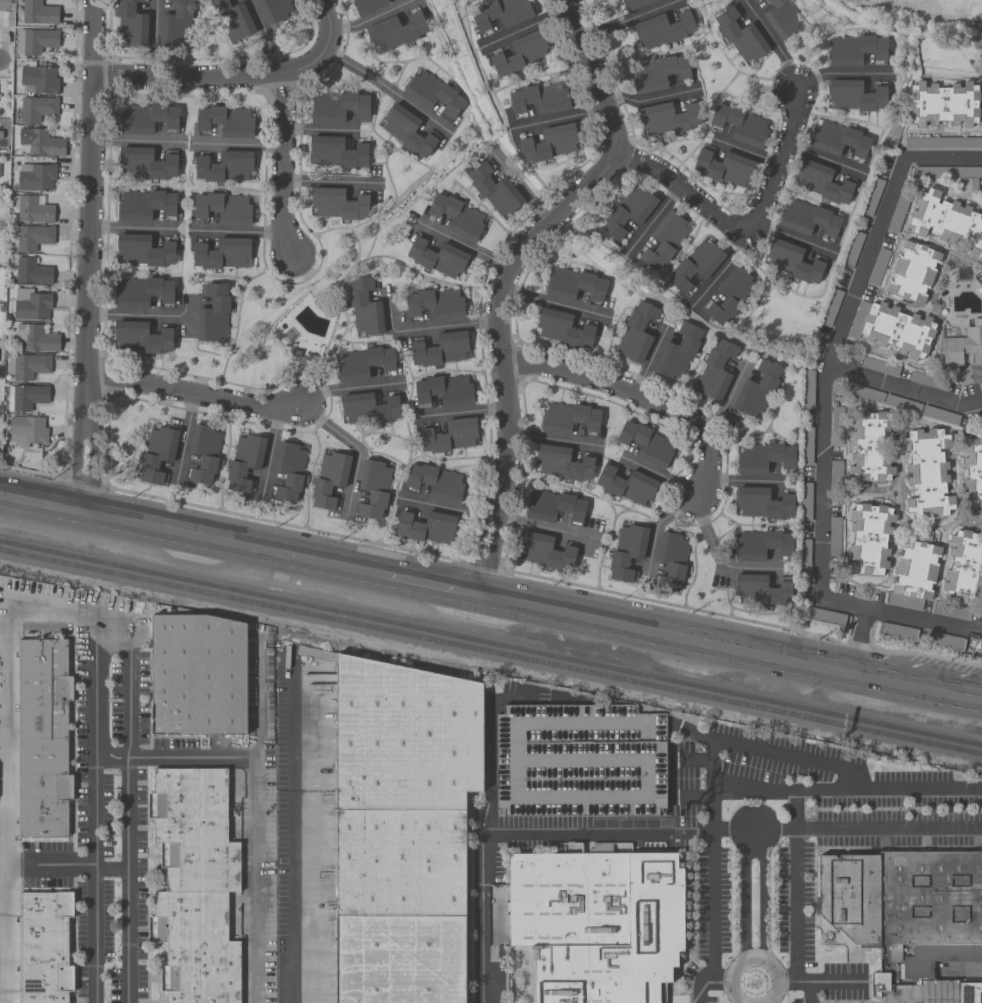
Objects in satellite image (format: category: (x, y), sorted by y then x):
building: (759, 0)
building: (4, 4)
building: (635, 4)
building: (367, 5)
building: (275, 10)
building: (38, 12)
building: (500, 13)
road: (371, 17)
road: (626, 18)
building: (781, 18)
building: (233, 19)
park: (928, 20)
road: (326, 21)
building: (130, 24)
building: (176, 25)
road: (522, 26)
building: (663, 29)
building: (395, 31)
building: (740, 35)
road: (266, 37)
road: (154, 38)
building: (35, 40)
road: (771, 40)
building: (855, 50)
building: (520, 53)
road: (594, 72)
building: (659, 72)
road: (840, 73)
road: (214, 75)
building: (38, 79)
road: (386, 90)
building: (433, 93)
building: (855, 95)
road: (651, 96)
building: (540, 98)
building: (943, 103)
building: (337, 106)
building: (35, 108)
road: (558, 115)
building: (147, 118)
building: (667, 118)
building: (225, 121)
building: (740, 124)
road: (320, 129)
building: (407, 130)
building: (838, 139)
building: (2, 140)
building: (40, 141)
road: (136, 141)
building: (549, 143)
road: (238, 144)
road: (741, 148)
building: (337, 152)
road: (822, 158)
building: (147, 162)
road: (283, 164)
building: (224, 166)
building: (724, 167)
building: (35, 176)
road: (332, 181)
road: (522, 182)
building: (822, 182)
building: (969, 185)
building: (494, 189)
road: (88, 203)
building: (337, 203)
building: (145, 205)
building: (223, 208)
building: (33, 209)
building: (628, 211)
building: (457, 216)
building: (808, 218)
road: (651, 221)
building: (947, 221)
road: (134, 226)
road: (746, 227)
road: (236, 230)
building: (31, 237)
road: (789, 237)
building: (664, 240)
road: (467, 244)
building: (143, 251)
building: (223, 252)
building: (437, 257)
building: (792, 261)
building: (695, 265)
building: (31, 271)
road: (718, 271)
building: (913, 271)
building: (574, 285)
building: (142, 291)
building: (731, 294)
building: (436, 303)
building: (31, 304)
road: (560, 305)
building: (364, 307)
building: (213, 314)
road: (149, 315)
road: (427, 329)
building: (562, 329)
building: (897, 329)
building: (636, 332)
road: (836, 334)
building: (35, 338)
building: (141, 338)
building: (963, 345)
building: (440, 349)
road: (501, 351)
building: (677, 353)
road: (650, 358)
building: (364, 363)
building: (27, 366)
building: (715, 370)
building: (929, 381)
road: (349, 386)
building: (756, 388)
road: (902, 389)
building: (444, 390)
road: (195, 395)
building: (25, 396)
road: (639, 397)
road: (727, 398)
building: (368, 408)
building: (920, 410)
road: (464, 412)
building: (568, 418)
building: (27, 430)
building: (449, 435)
road: (183, 439)
road: (555, 440)
building: (646, 443)
building: (871, 446)
road: (357, 451)
building: (157, 453)
building: (203, 453)
road: (269, 453)
road: (76, 456)
road: (91, 458)
building: (763, 458)
building: (244, 461)
building: (563, 463)
building: (288, 470)
road: (30, 472)
building: (972, 472)
building: (927, 473)
road: (657, 474)
building: (329, 478)
road: (742, 480)
road: (81, 481)
building: (435, 482)
building: (626, 484)
building: (373, 488)
building: (763, 503)
building: (554, 506)
road: (448, 508)
road: (654, 524)
road: (543, 527)
building: (427, 528)
road: (192, 534)
building: (869, 538)
building: (761, 545)
building: (544, 551)
building: (626, 552)
road: (715, 554)
building: (671, 561)
building: (916, 565)
building: (964, 568)
road: (541, 578)
road: (430, 585)
building: (760, 590)
road: (844, 603)
road: (920, 619)
road: (109, 629)
road: (664, 635)
road: (859, 641)
railway: (490, 644)
railway: (490, 655)
building: (198, 673)
road: (917, 687)
road: (290, 720)
road: (491, 733)
building: (43, 737)
road: (7, 748)
road: (174, 757)
road: (806, 759)
building: (579, 761)
parking lot: (579, 761)
road: (254, 819)
building: (403, 830)
road: (731, 832)
road: (50, 865)
road: (111, 870)
building: (195, 885)
road: (743, 895)
road: (765, 896)
road: (290, 897)
building: (903, 898)
road: (710, 918)
road: (481, 919)
road: (797, 919)
building: (598, 924)
building: (45, 946)
road: (754, 959)
road: (717, 982)
road: (788, 982)
building: (970, 992)

